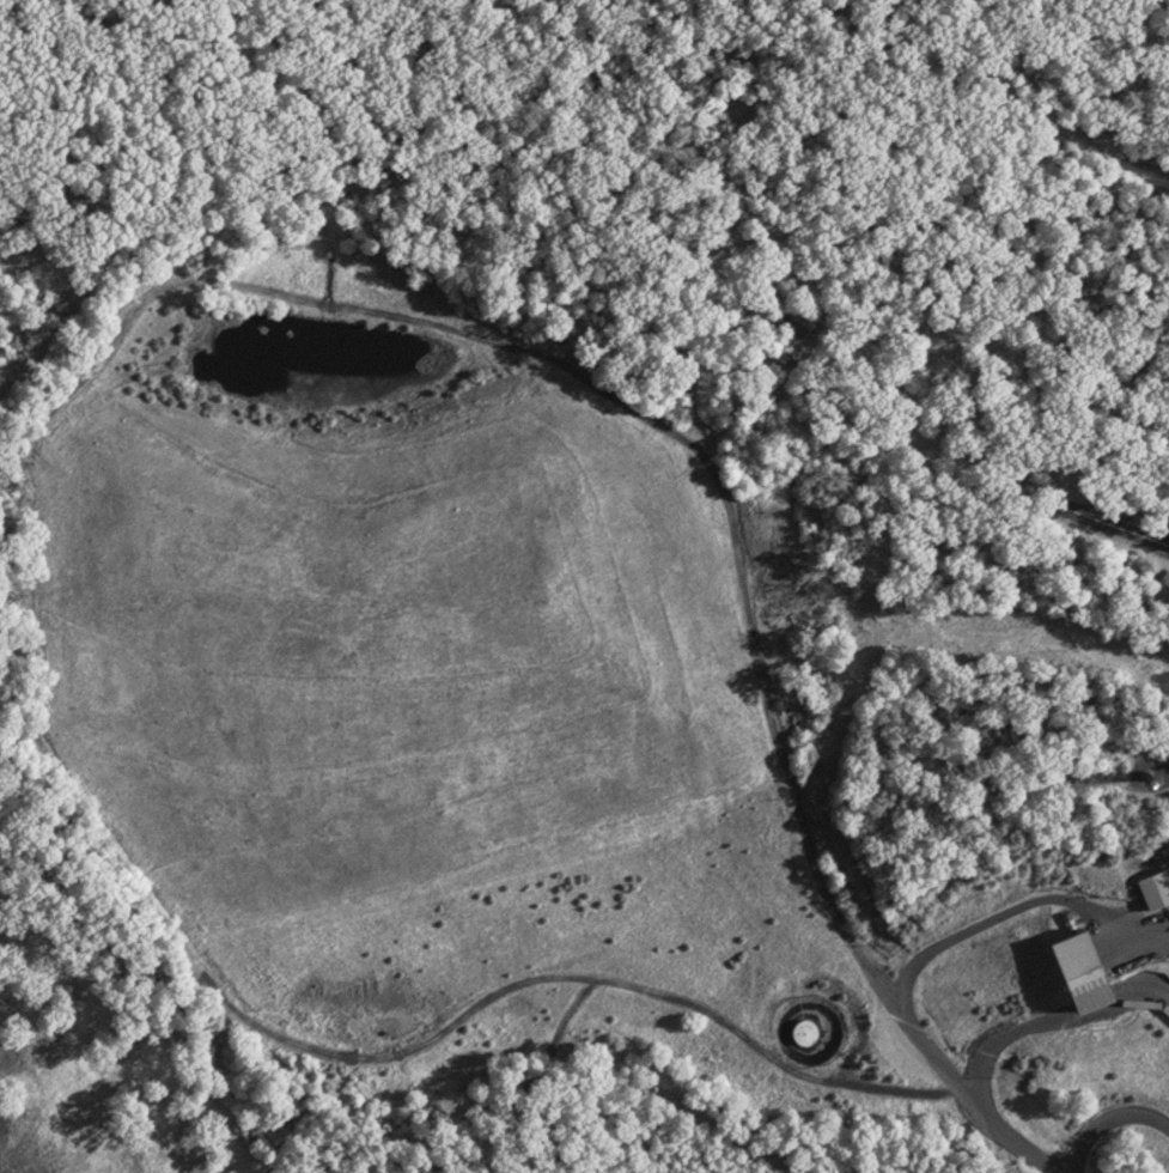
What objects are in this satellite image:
road: (1124, 521)
road: (924, 968)
building: (1071, 968)
road: (1049, 1017)
building: (802, 1033)
road: (1109, 1123)

